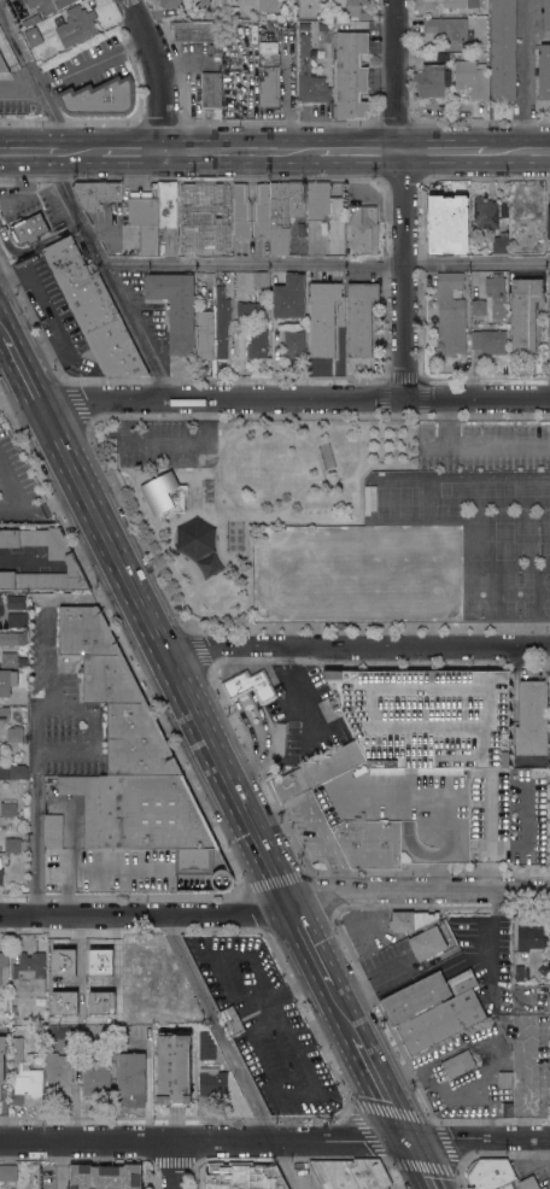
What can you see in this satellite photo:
building: (169, 4)
building: (49, 5)
building: (265, 5)
building: (351, 6)
building: (452, 7)
building: (546, 18)
building: (29, 19)
building: (77, 25)
building: (446, 28)
building: (194, 30)
building: (33, 36)
building: (503, 49)
building: (443, 57)
road: (95, 61)
building: (2, 65)
building: (544, 71)
road: (164, 72)
building: (268, 75)
building: (351, 75)
building: (129, 76)
road: (525, 76)
road: (39, 77)
building: (309, 77)
building: (470, 78)
building: (431, 80)
road: (23, 89)
building: (211, 92)
building: (90, 96)
building: (429, 107)
road: (28, 152)
road: (242, 152)
road: (359, 152)
road: (444, 152)
road: (519, 152)
road: (80, 153)
road: (134, 153)
building: (96, 193)
building: (297, 199)
road: (404, 199)
building: (186, 201)
building: (168, 204)
building: (525, 206)
building: (262, 210)
building: (485, 212)
building: (327, 213)
building: (229, 215)
building: (452, 215)
building: (280, 218)
building: (145, 219)
building: (363, 228)
building: (549, 228)
building: (25, 230)
building: (501, 244)
building: (537, 244)
building: (445, 246)
road: (326, 265)
road: (107, 276)
building: (261, 280)
building: (496, 293)
building: (289, 297)
building: (548, 304)
building: (175, 307)
building: (479, 307)
building: (93, 310)
building: (250, 312)
building: (523, 312)
building: (450, 314)
road: (49, 316)
building: (359, 317)
building: (323, 318)
building: (222, 322)
road: (4, 326)
building: (205, 334)
road: (4, 335)
building: (488, 341)
building: (258, 344)
building: (294, 345)
road: (23, 367)
road: (294, 400)
road: (480, 443)
park: (242, 490)
building: (164, 493)
road: (30, 510)
road: (93, 549)
building: (62, 557)
road: (69, 557)
road: (31, 561)
park: (357, 573)
building: (16, 602)
building: (0, 604)
road: (47, 611)
building: (17, 620)
building: (12, 638)
road: (356, 649)
road: (165, 651)
road: (232, 654)
road: (213, 656)
road: (291, 656)
building: (10, 658)
building: (11, 680)
building: (549, 683)
building: (250, 685)
building: (115, 695)
road: (241, 713)
road: (259, 714)
building: (4, 715)
parking lot: (304, 715)
building: (427, 716)
building: (532, 717)
road: (320, 726)
building: (14, 734)
road: (36, 738)
building: (279, 739)
road: (263, 765)
building: (18, 772)
building: (317, 772)
road: (241, 775)
building: (413, 808)
building: (8, 809)
building: (454, 815)
building: (144, 816)
building: (361, 819)
building: (532, 828)
building: (53, 831)
building: (16, 845)
road: (90, 866)
building: (1, 877)
road: (419, 894)
road: (146, 918)
building: (411, 920)
building: (531, 938)
building: (432, 947)
road: (315, 949)
building: (100, 966)
building: (142, 967)
building: (4, 968)
building: (65, 968)
building: (30, 972)
building: (462, 982)
building: (170, 991)
building: (415, 998)
building: (63, 1001)
building: (113, 1001)
road: (349, 1013)
building: (13, 1015)
building: (232, 1020)
building: (441, 1021)
road: (216, 1025)
building: (549, 1026)
building: (74, 1039)
building: (16, 1049)
building: (111, 1050)
building: (207, 1055)
building: (463, 1060)
building: (1, 1061)
building: (174, 1068)
building: (59, 1072)
building: (131, 1074)
building: (95, 1079)
building: (505, 1079)
building: (213, 1083)
road: (385, 1083)
building: (27, 1085)
building: (507, 1109)
road: (274, 1135)
road: (544, 1147)
road: (281, 1161)
road: (425, 1161)
road: (59, 1164)
road: (171, 1164)
building: (8, 1172)
building: (351, 1173)
building: (490, 1173)
building: (105, 1177)
building: (230, 1178)
building: (273, 1178)
building: (529, 1183)
building: (508, 1187)
building: (386, 1188)
building: (544, 1188)

